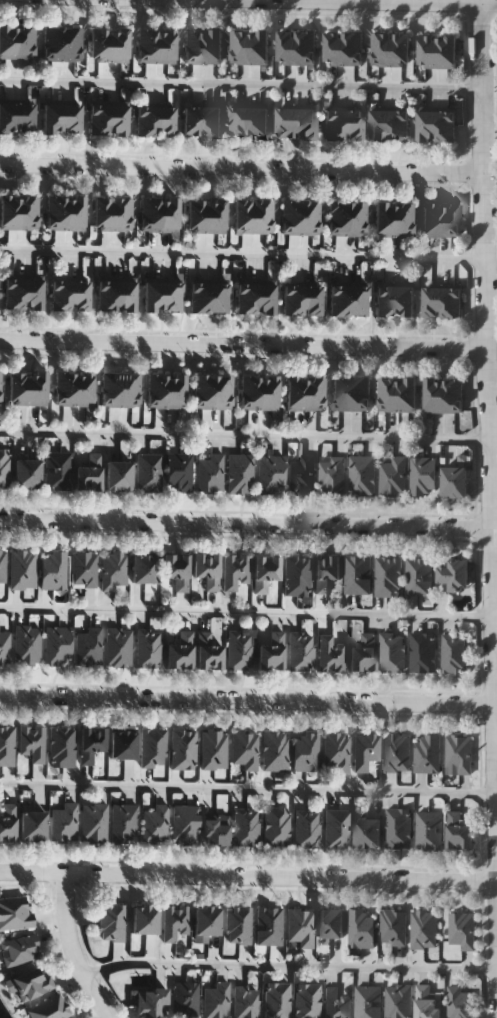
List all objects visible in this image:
road: (389, 1)
building: (7, 40)
building: (24, 40)
building: (52, 43)
building: (71, 43)
building: (100, 44)
building: (118, 44)
building: (147, 44)
building: (166, 44)
building: (193, 46)
building: (213, 46)
building: (240, 47)
building: (259, 47)
building: (287, 47)
building: (306, 47)
building: (334, 48)
building: (353, 48)
building: (381, 49)
building: (400, 49)
building: (428, 51)
building: (447, 51)
road: (240, 82)
building: (7, 116)
building: (24, 116)
building: (51, 117)
building: (71, 117)
building: (99, 118)
building: (118, 118)
building: (146, 120)
building: (165, 120)
building: (192, 121)
building: (211, 121)
building: (239, 122)
building: (259, 122)
building: (287, 123)
building: (306, 123)
building: (333, 123)
building: (353, 123)
building: (380, 124)
building: (399, 124)
building: (427, 126)
building: (446, 126)
road: (242, 168)
building: (9, 211)
building: (28, 211)
building: (55, 212)
building: (75, 212)
building: (103, 213)
building: (121, 213)
building: (150, 214)
building: (169, 214)
building: (197, 215)
building: (216, 215)
building: (243, 215)
building: (262, 215)
building: (290, 217)
building: (309, 217)
building: (337, 217)
building: (356, 217)
building: (384, 219)
building: (403, 219)
building: (430, 219)
building: (449, 219)
road: (243, 251)
building: (14, 293)
building: (33, 293)
building: (60, 294)
building: (79, 294)
building: (106, 295)
building: (126, 295)
building: (153, 295)
building: (172, 295)
building: (199, 297)
building: (218, 297)
building: (246, 297)
building: (265, 297)
building: (339, 299)
building: (357, 299)
building: (292, 300)
building: (311, 300)
building: (385, 300)
building: (404, 300)
building: (432, 302)
building: (451, 302)
road: (243, 343)
building: (1, 388)
building: (18, 388)
building: (37, 388)
building: (64, 388)
building: (83, 388)
building: (110, 390)
building: (129, 390)
building: (156, 391)
building: (175, 391)
building: (202, 392)
building: (222, 392)
building: (249, 392)
building: (268, 392)
building: (295, 393)
building: (314, 393)
building: (341, 394)
building: (361, 394)
building: (388, 395)
building: (407, 395)
building: (434, 396)
building: (453, 396)
road: (248, 435)
road: (489, 440)
building: (4, 467)
building: (57, 470)
building: (179, 471)
building: (89, 472)
building: (149, 472)
building: (27, 473)
building: (210, 473)
building: (239, 473)
building: (270, 474)
building: (119, 475)
building: (301, 475)
building: (331, 475)
building: (362, 475)
building: (393, 476)
building: (422, 476)
building: (455, 482)
road: (245, 522)
building: (2, 566)
building: (145, 568)
building: (23, 569)
building: (83, 569)
building: (53, 570)
building: (114, 570)
building: (176, 570)
building: (207, 570)
building: (234, 571)
building: (265, 572)
building: (326, 572)
building: (357, 575)
building: (455, 575)
building: (296, 576)
building: (418, 577)
building: (387, 578)
road: (246, 611)
building: (26, 644)
building: (57, 645)
building: (4, 647)
building: (88, 647)
building: (118, 647)
building: (148, 648)
building: (210, 650)
building: (180, 651)
building: (240, 651)
building: (272, 652)
building: (300, 652)
building: (363, 654)
building: (391, 654)
building: (422, 654)
building: (330, 655)
building: (454, 655)
road: (247, 698)
building: (32, 743)
building: (91, 743)
building: (123, 745)
building: (7, 746)
building: (62, 747)
building: (153, 748)
building: (183, 749)
building: (213, 750)
building: (245, 750)
building: (274, 751)
building: (336, 751)
building: (365, 751)
building: (305, 752)
building: (396, 753)
building: (427, 754)
building: (458, 754)
road: (247, 788)
building: (7, 822)
building: (63, 823)
building: (93, 823)
building: (124, 824)
building: (156, 824)
building: (185, 824)
building: (33, 826)
building: (276, 827)
building: (245, 828)
building: (397, 828)
building: (307, 829)
building: (337, 829)
building: (216, 830)
building: (428, 831)
building: (459, 831)
building: (368, 833)
road: (248, 873)
building: (15, 913)
building: (145, 920)
building: (207, 921)
building: (174, 922)
building: (111, 923)
building: (331, 923)
building: (238, 925)
building: (268, 926)
building: (300, 927)
building: (394, 928)
building: (361, 929)
building: (423, 930)
building: (461, 930)
road: (70, 948)
building: (19, 950)
road: (291, 964)
building: (32, 984)
building: (185, 1000)
building: (276, 1000)
building: (306, 1000)
building: (215, 1001)
building: (245, 1001)
building: (398, 1001)
building: (367, 1002)
building: (427, 1002)
building: (460, 1002)
building: (151, 1003)
building: (336, 1003)
building: (50, 1008)

